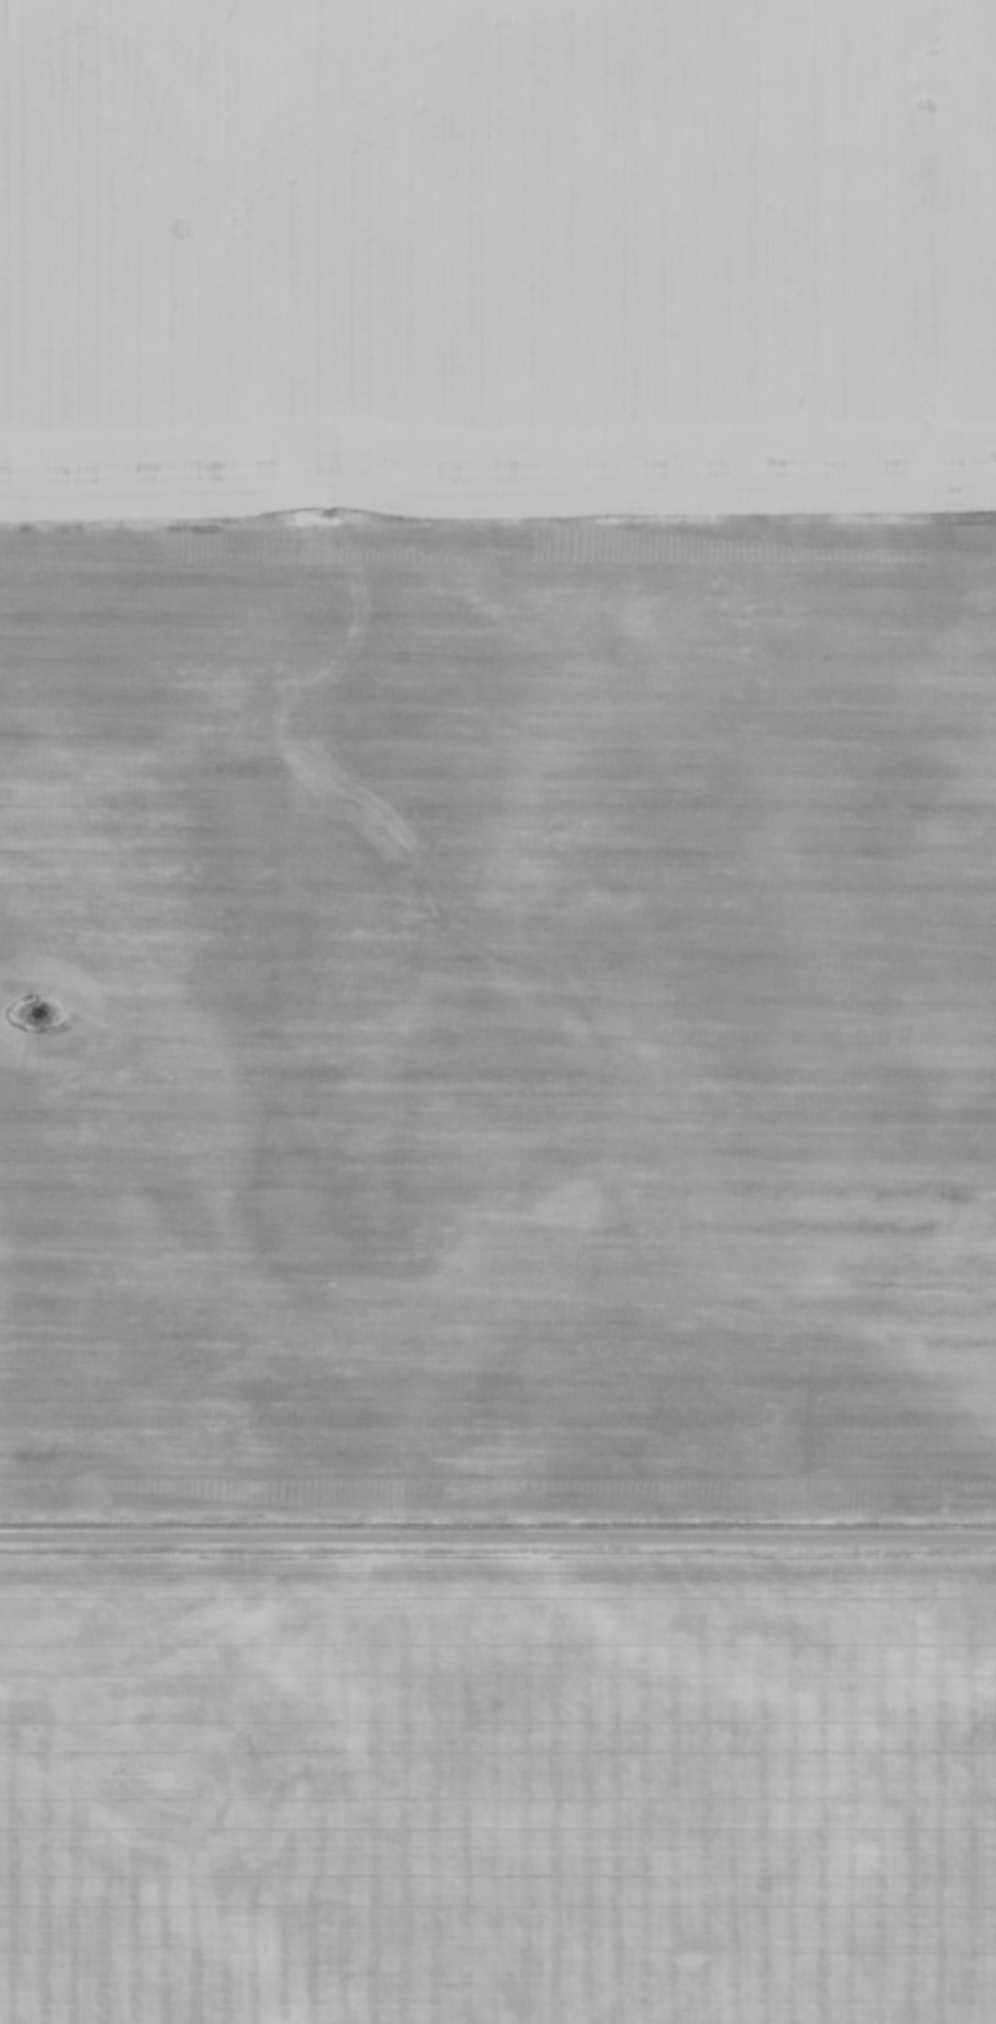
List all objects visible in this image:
road: (498, 1539)

